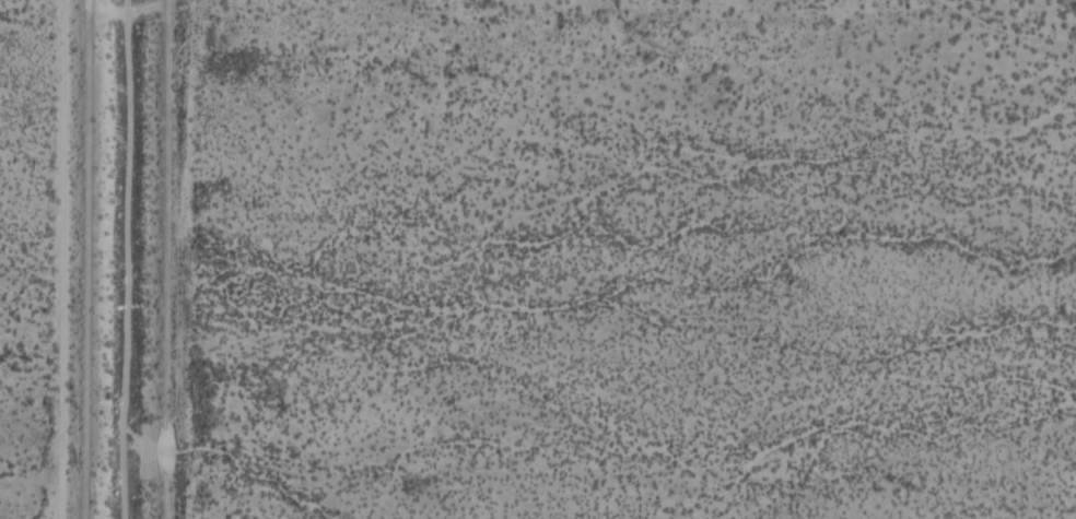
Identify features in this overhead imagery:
dam: (87, 259)
dam: (168, 259)

